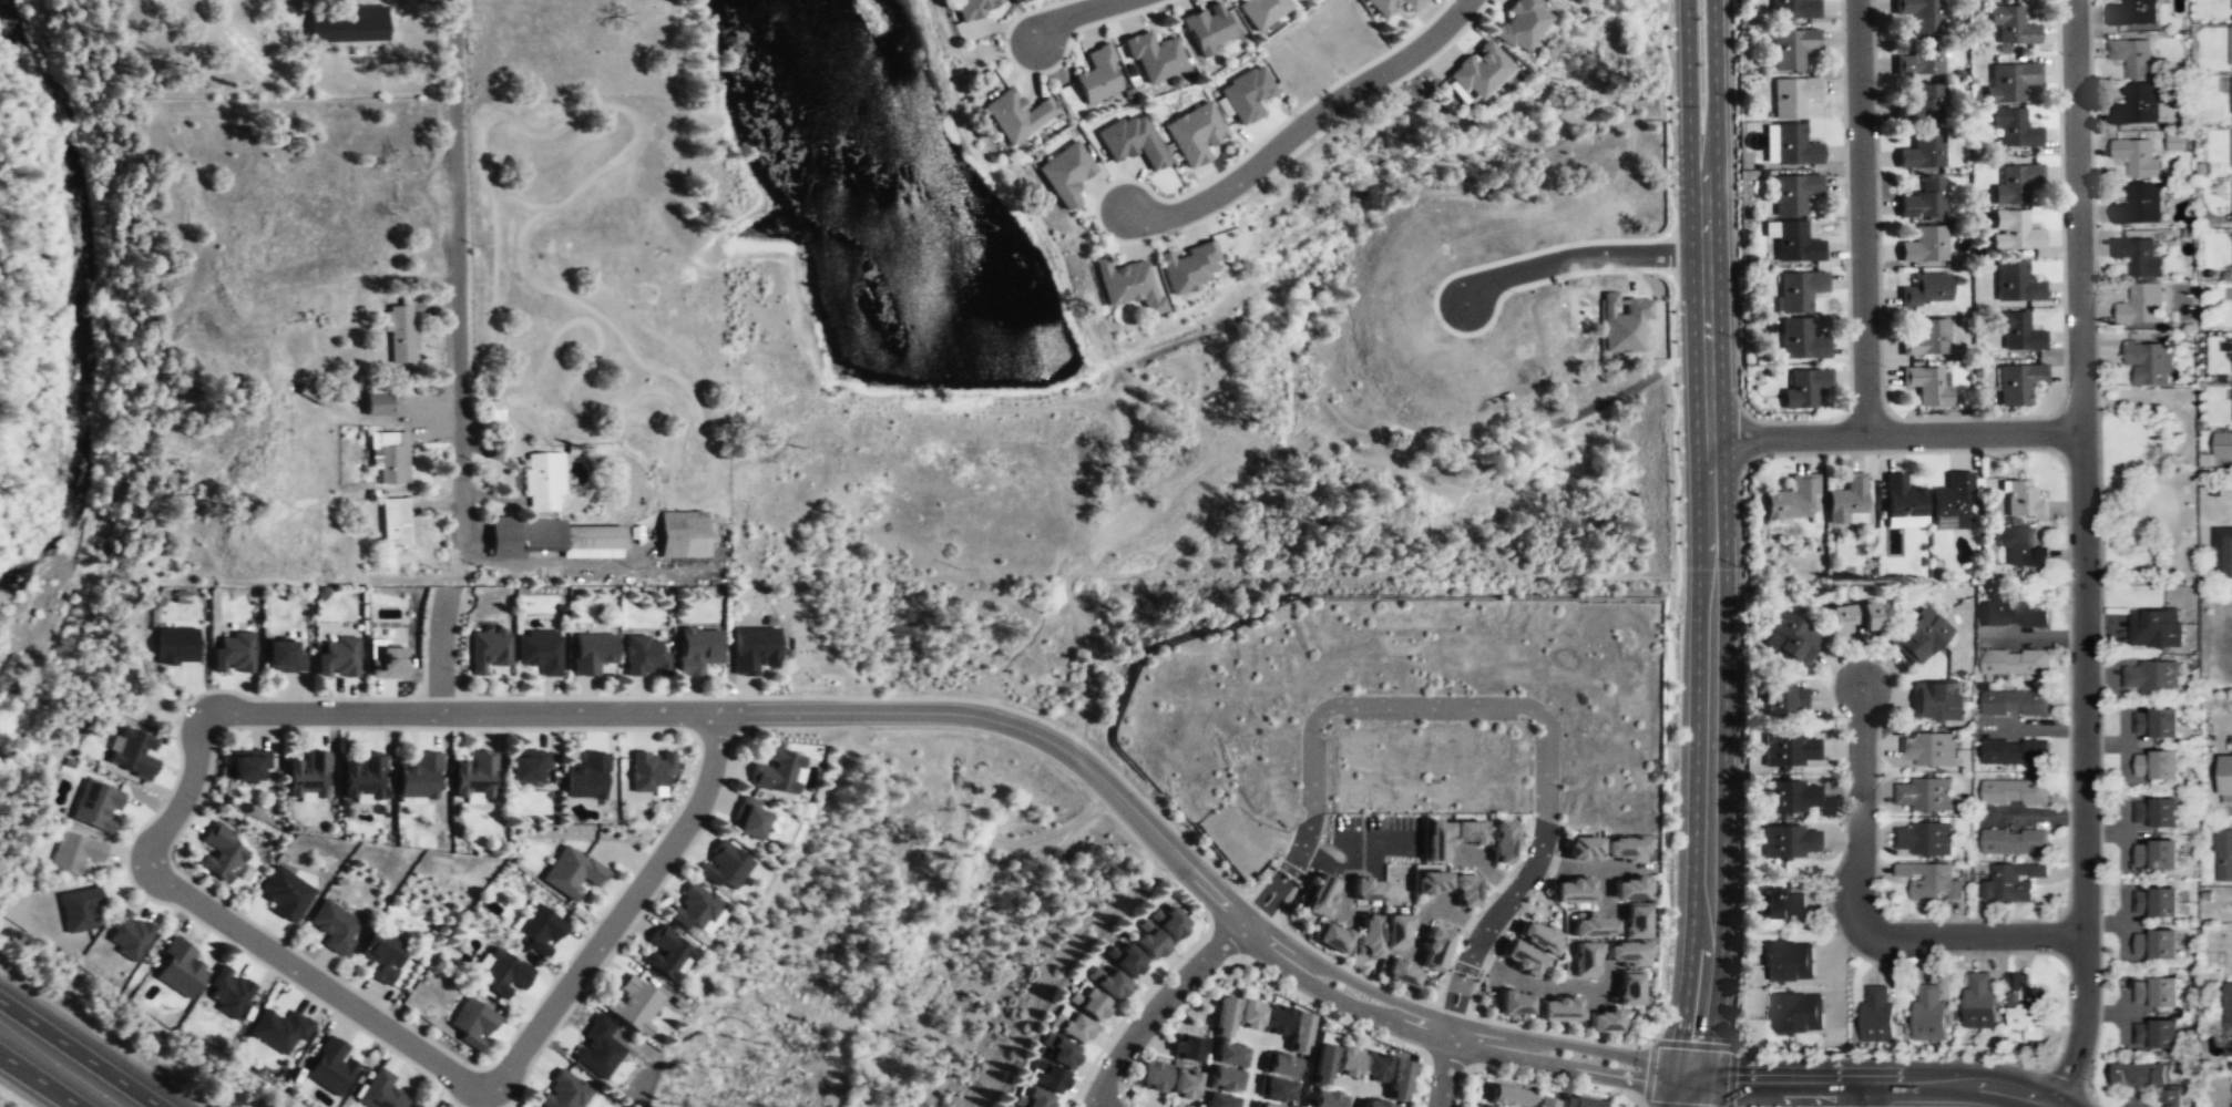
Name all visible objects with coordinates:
building: (2231, 4)
building: (1390, 6)
building: (975, 8)
building: (1793, 9)
building: (1260, 12)
building: (2133, 12)
building: (1918, 14)
road: (1075, 16)
building: (1522, 24)
building: (348, 25)
building: (2011, 25)
building: (1207, 30)
building: (2231, 45)
building: (1791, 48)
building: (1154, 57)
building: (2134, 58)
building: (1919, 60)
street lamp: (1671, 64)
building: (1478, 73)
building: (1098, 75)
building: (2010, 82)
street lamp: (1880, 83)
building: (1249, 90)
building: (2231, 94)
building: (1793, 96)
building: (2137, 104)
building: (1919, 107)
building: (1015, 115)
road: (1307, 126)
road: (1701, 126)
building: (2015, 129)
building: (1192, 134)
building: (1132, 141)
building: (2175, 141)
building: (1789, 145)
building: (2231, 146)
building: (1922, 153)
building: (2137, 157)
building: (1064, 174)
building: (2014, 185)
building: (1793, 193)
street lamp: (1672, 194)
building: (1923, 201)
building: (2139, 204)
building: (2231, 209)
road: (2078, 215)
street lamp: (1842, 216)
road: (1862, 218)
building: (2013, 233)
building: (1792, 243)
building: (1923, 246)
road: (1578, 257)
building: (2138, 257)
building: (1188, 267)
road: (458, 270)
building: (2015, 284)
building: (1127, 286)
building: (1925, 290)
building: (1798, 291)
building: (2231, 291)
river: (82, 304)
building: (2142, 305)
building: (399, 331)
street lamp: (1676, 331)
building: (2018, 332)
building: (1800, 339)
building: (1926, 339)
building: (2231, 341)
building: (2149, 362)
street lamp: (1884, 367)
building: (1925, 385)
building: (2017, 385)
building: (1803, 388)
building: (381, 403)
building: (2231, 418)
road: (1895, 435)
building: (2222, 445)
street lamp: (1769, 457)
building: (390, 458)
street lamp: (1679, 468)
street lamp: (2062, 469)
park: (2148, 485)
building: (1791, 498)
building: (1846, 502)
building: (1901, 503)
building: (1949, 503)
building: (2023, 503)
building: (549, 520)
building: (393, 521)
building: (680, 533)
building: (2021, 549)
building: (2222, 551)
building: (2015, 614)
street lamp: (1679, 617)
building: (1853, 618)
building: (2156, 627)
building: (1919, 635)
building: (1792, 637)
building: (175, 645)
road: (1709, 647)
building: (696, 649)
building: (752, 649)
building: (488, 650)
building: (539, 650)
building: (232, 653)
building: (591, 653)
building: (645, 655)
building: (283, 656)
building: (337, 657)
building: (2014, 662)
building: (388, 664)
building: (2150, 678)
street lamp: (810, 691)
street lamp: (923, 693)
building: (1784, 698)
building: (1936, 701)
building: (2015, 704)
road: (1429, 707)
road: (463, 711)
building: (2156, 724)
street lamp: (869, 728)
road: (1018, 728)
street lamp: (750, 732)
street lamp: (982, 732)
street lamp: (1676, 747)
building: (1789, 749)
building: (1927, 750)
building: (134, 751)
building: (2016, 751)
building: (247, 763)
building: (526, 766)
building: (2157, 766)
road: (2086, 769)
building: (648, 770)
building: (475, 773)
building: (776, 773)
building: (364, 775)
building: (587, 775)
building: (307, 777)
building: (420, 777)
building: (2225, 779)
street lamp: (1079, 783)
road: (185, 789)
building: (2016, 792)
building: (1923, 795)
building: (1788, 796)
building: (95, 804)
building: (2156, 812)
building: (749, 819)
building: (1463, 831)
road: (1311, 833)
building: (1924, 839)
building: (1498, 840)
building: (1435, 841)
building: (1790, 841)
building: (2015, 842)
building: (1581, 849)
building: (1624, 850)
building: (74, 852)
building: (221, 852)
building: (2223, 854)
building: (2156, 855)
street lamp: (1672, 865)
building: (724, 868)
street lamp: (1163, 870)
building: (570, 873)
road: (1530, 877)
building: (1931, 881)
building: (1431, 883)
building: (2011, 883)
building: (1460, 890)
building: (1568, 890)
building: (1626, 890)
building: (284, 892)
building: (1369, 892)
building: (1320, 895)
building: (1783, 903)
building: (2156, 903)
building: (79, 908)
road: (620, 911)
building: (694, 911)
road: (1868, 918)
building: (1635, 922)
building: (1169, 924)
building: (335, 926)
building: (1593, 927)
building: (537, 930)
building: (1397, 931)
building: (127, 933)
building: (1370, 936)
building: (1537, 937)
building: (1331, 939)
building: (1148, 943)
building: (2156, 944)
road: (1271, 945)
building: (1436, 946)
building: (667, 952)
building: (1626, 953)
building: (382, 955)
building: (1522, 959)
building: (1127, 961)
building: (1585, 961)
building: (1788, 961)
building: (180, 968)
building: (503, 972)
building: (1401, 973)
road: (310, 978)
building: (1107, 982)
building: (1627, 988)
building: (228, 992)
building: (2156, 992)
road: (1375, 995)
building: (1087, 1002)
building: (1979, 1002)
building: (632, 1004)
building: (1514, 1004)
building: (2025, 1007)
building: (1558, 1009)
road: (1161, 1011)
building: (1796, 1012)
building: (1877, 1013)
building: (1928, 1014)
building: (1250, 1015)
building: (1225, 1018)
building: (2228, 1018)
building: (1277, 1021)
building: (471, 1022)
building: (1604, 1022)
building: (1071, 1025)
building: (278, 1028)
building: (1300, 1032)
road: (1452, 1034)
building: (2157, 1034)
building: (601, 1047)
building: (1187, 1048)
road: (1477, 1049)
road: (1593, 1049)
building: (1057, 1050)
road: (81, 1053)
building: (1229, 1054)
building: (1323, 1058)
building: (1348, 1063)
building: (1282, 1065)
building: (329, 1066)
building: (1375, 1069)
road: (1678, 1072)
road: (1703, 1074)
building: (1045, 1076)
road: (1444, 1076)
building: (1154, 1077)
road: (1898, 1078)
building: (2148, 1079)
road: (39, 1080)
building: (1225, 1080)
building: (1399, 1082)
road: (1704, 1085)
building: (1184, 1087)
building: (1277, 1088)
building: (380, 1090)
road: (1865, 1091)
building: (562, 1093)
building: (1503, 1096)
building: (1028, 1097)
building: (1327, 1099)
building: (1218, 1101)
building: (1544, 1103)
building: (1581, 1103)
building: (1374, 1105)
building: (417, 1106)
building: (1267, 1106)
building: (1477, 1106)
street lamp: (1822, 1106)

